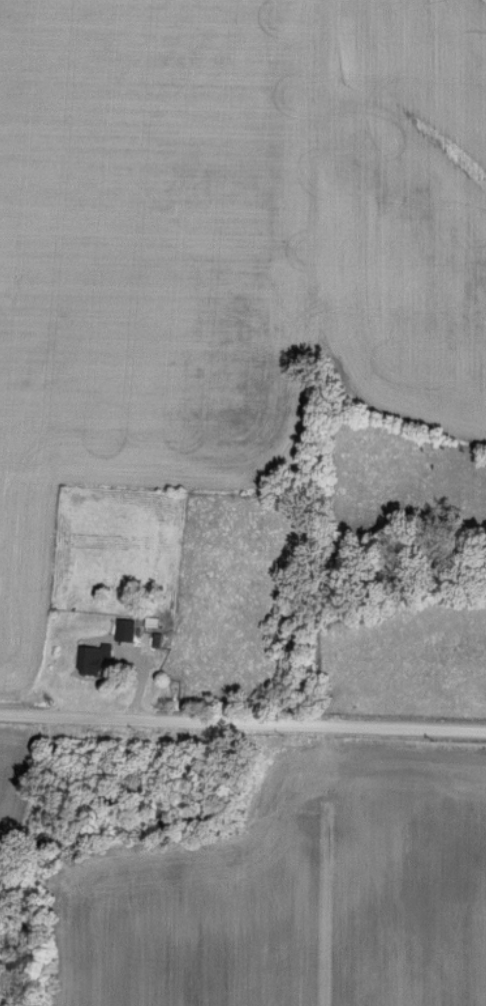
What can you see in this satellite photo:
building: (125, 628)
building: (93, 658)
road: (242, 723)

